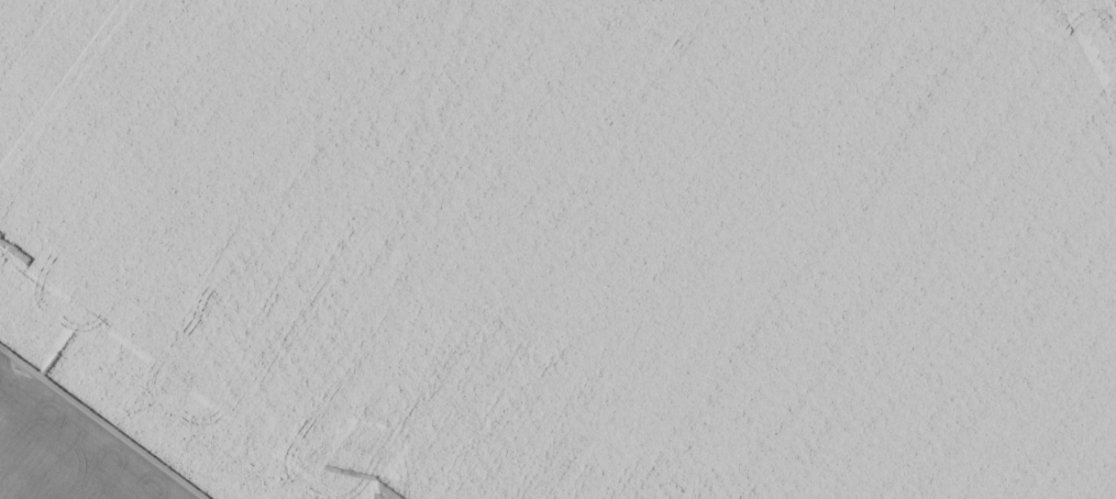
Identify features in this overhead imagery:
crop: (557, 249)

